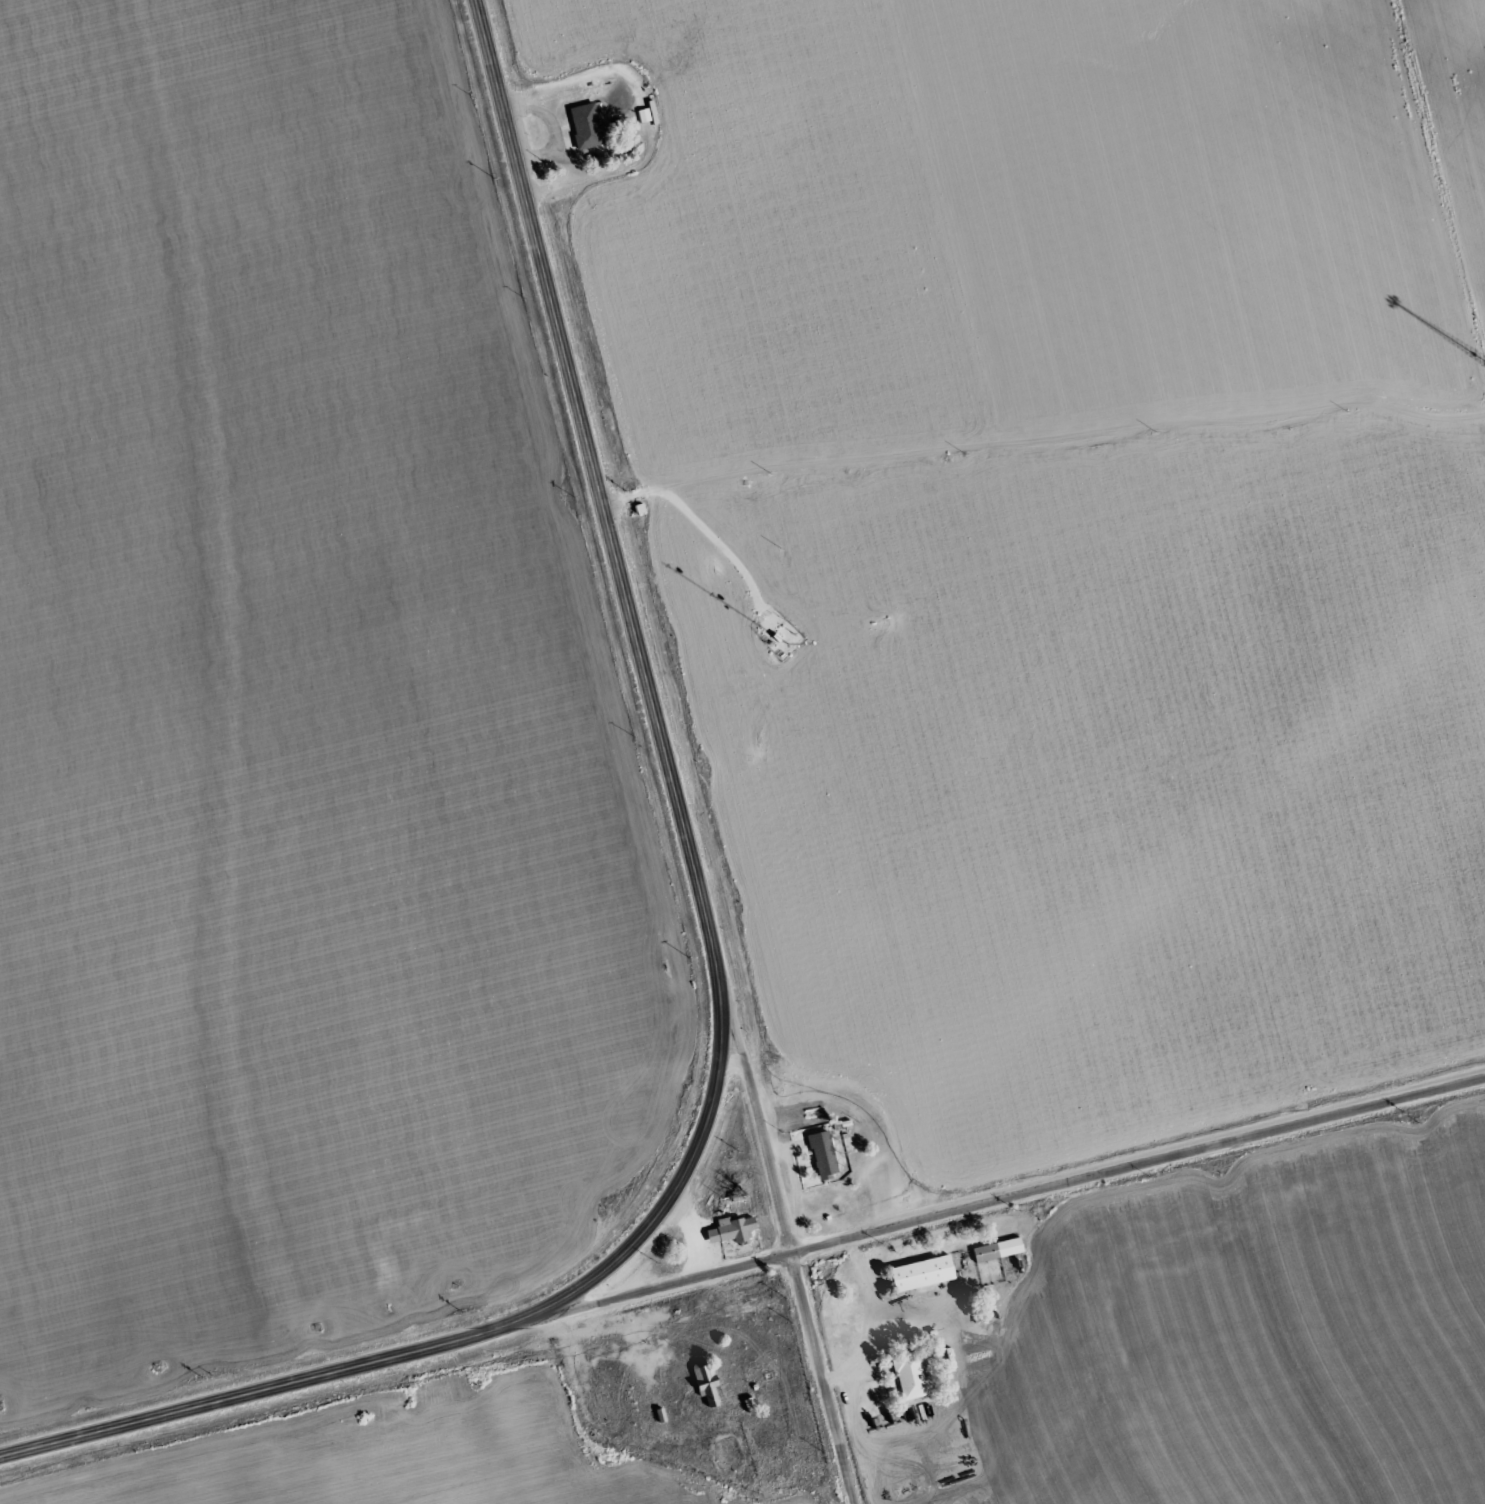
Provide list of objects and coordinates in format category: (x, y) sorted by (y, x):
building: (584, 124)
road: (714, 955)
building: (821, 1153)
road: (1137, 1164)
building: (729, 1229)
building: (984, 1251)
road: (793, 1265)
building: (918, 1272)
road: (669, 1283)
building: (909, 1376)
building: (705, 1384)

